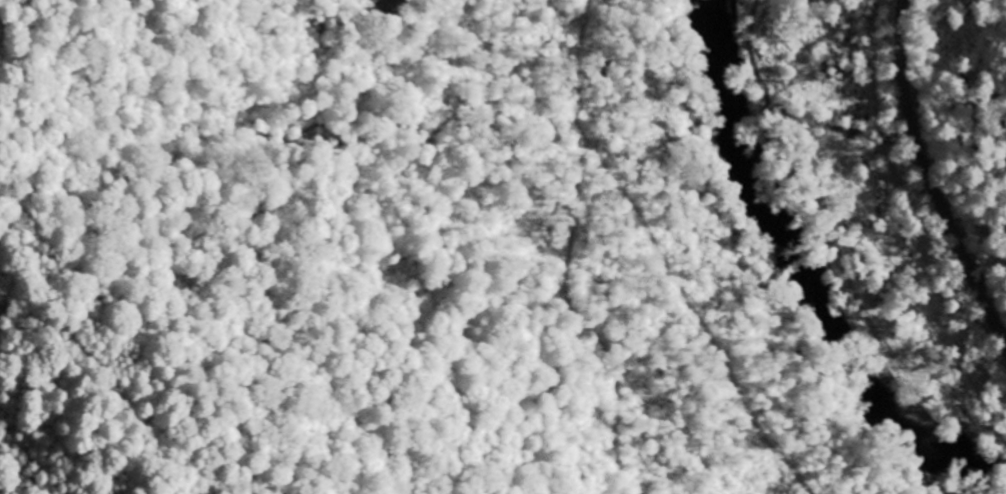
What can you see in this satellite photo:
road: (929, 175)

